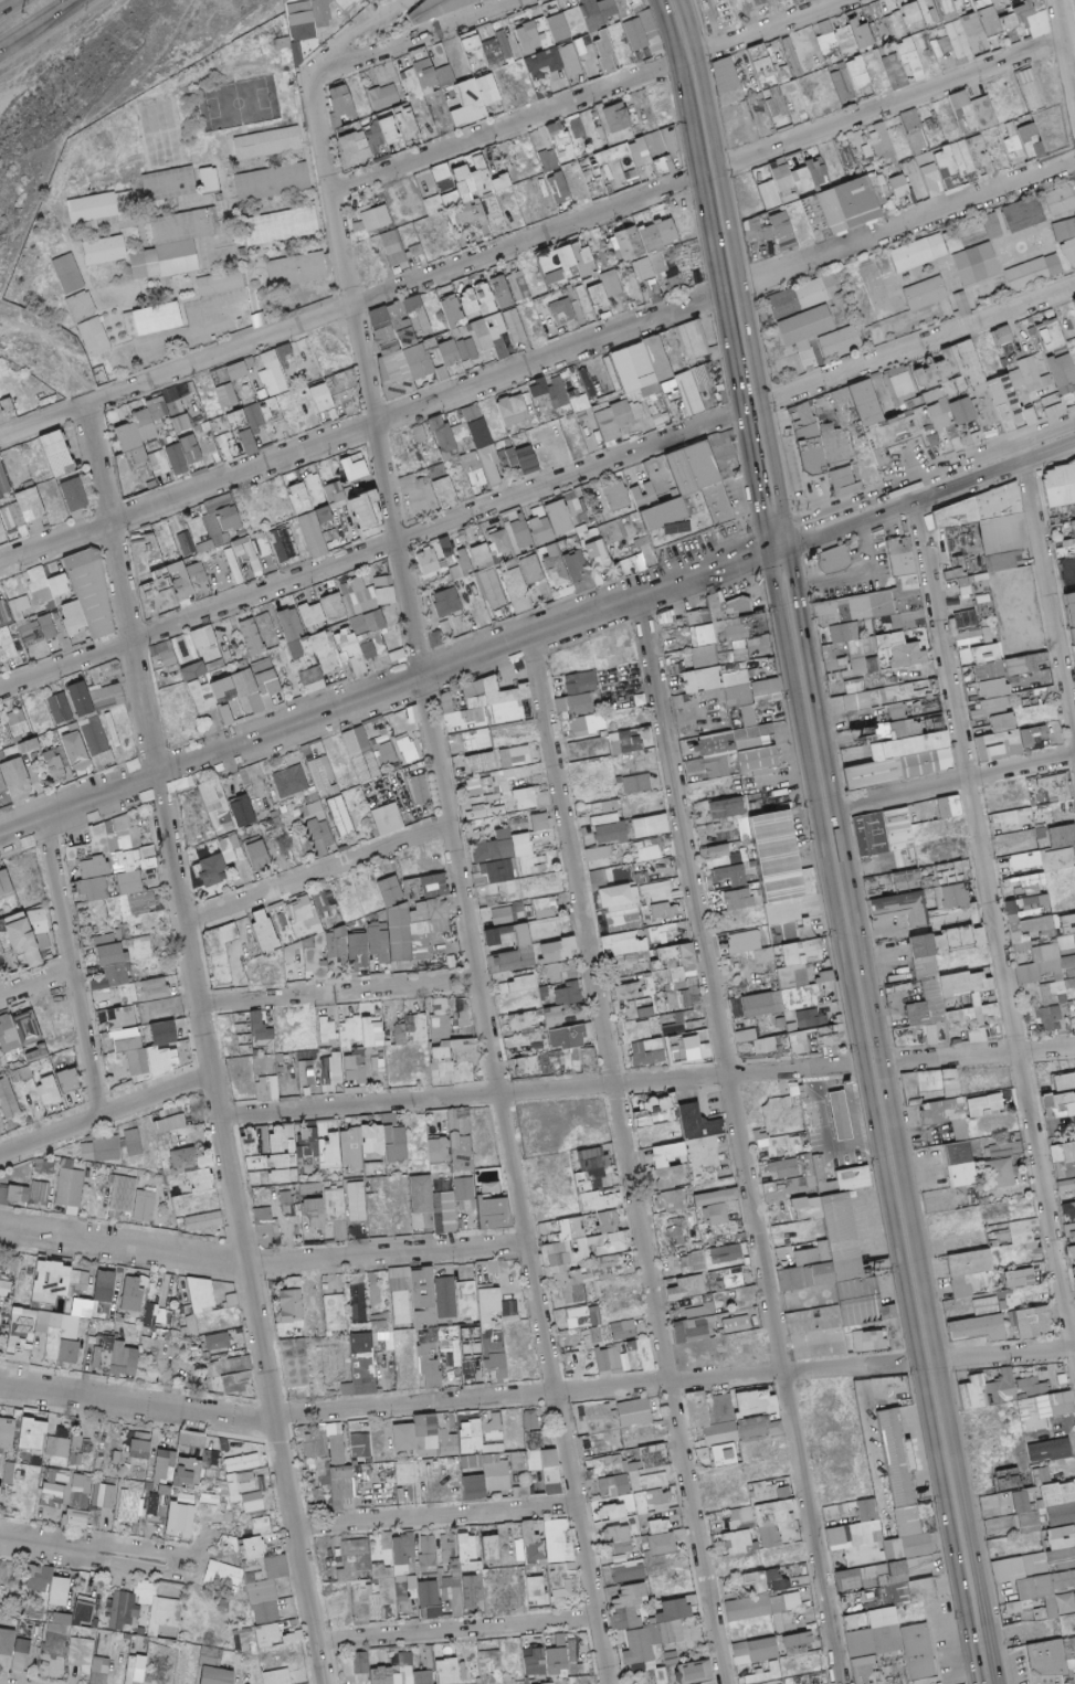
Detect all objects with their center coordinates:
power tower: (19, 11)
gas station: (835, 1111)

